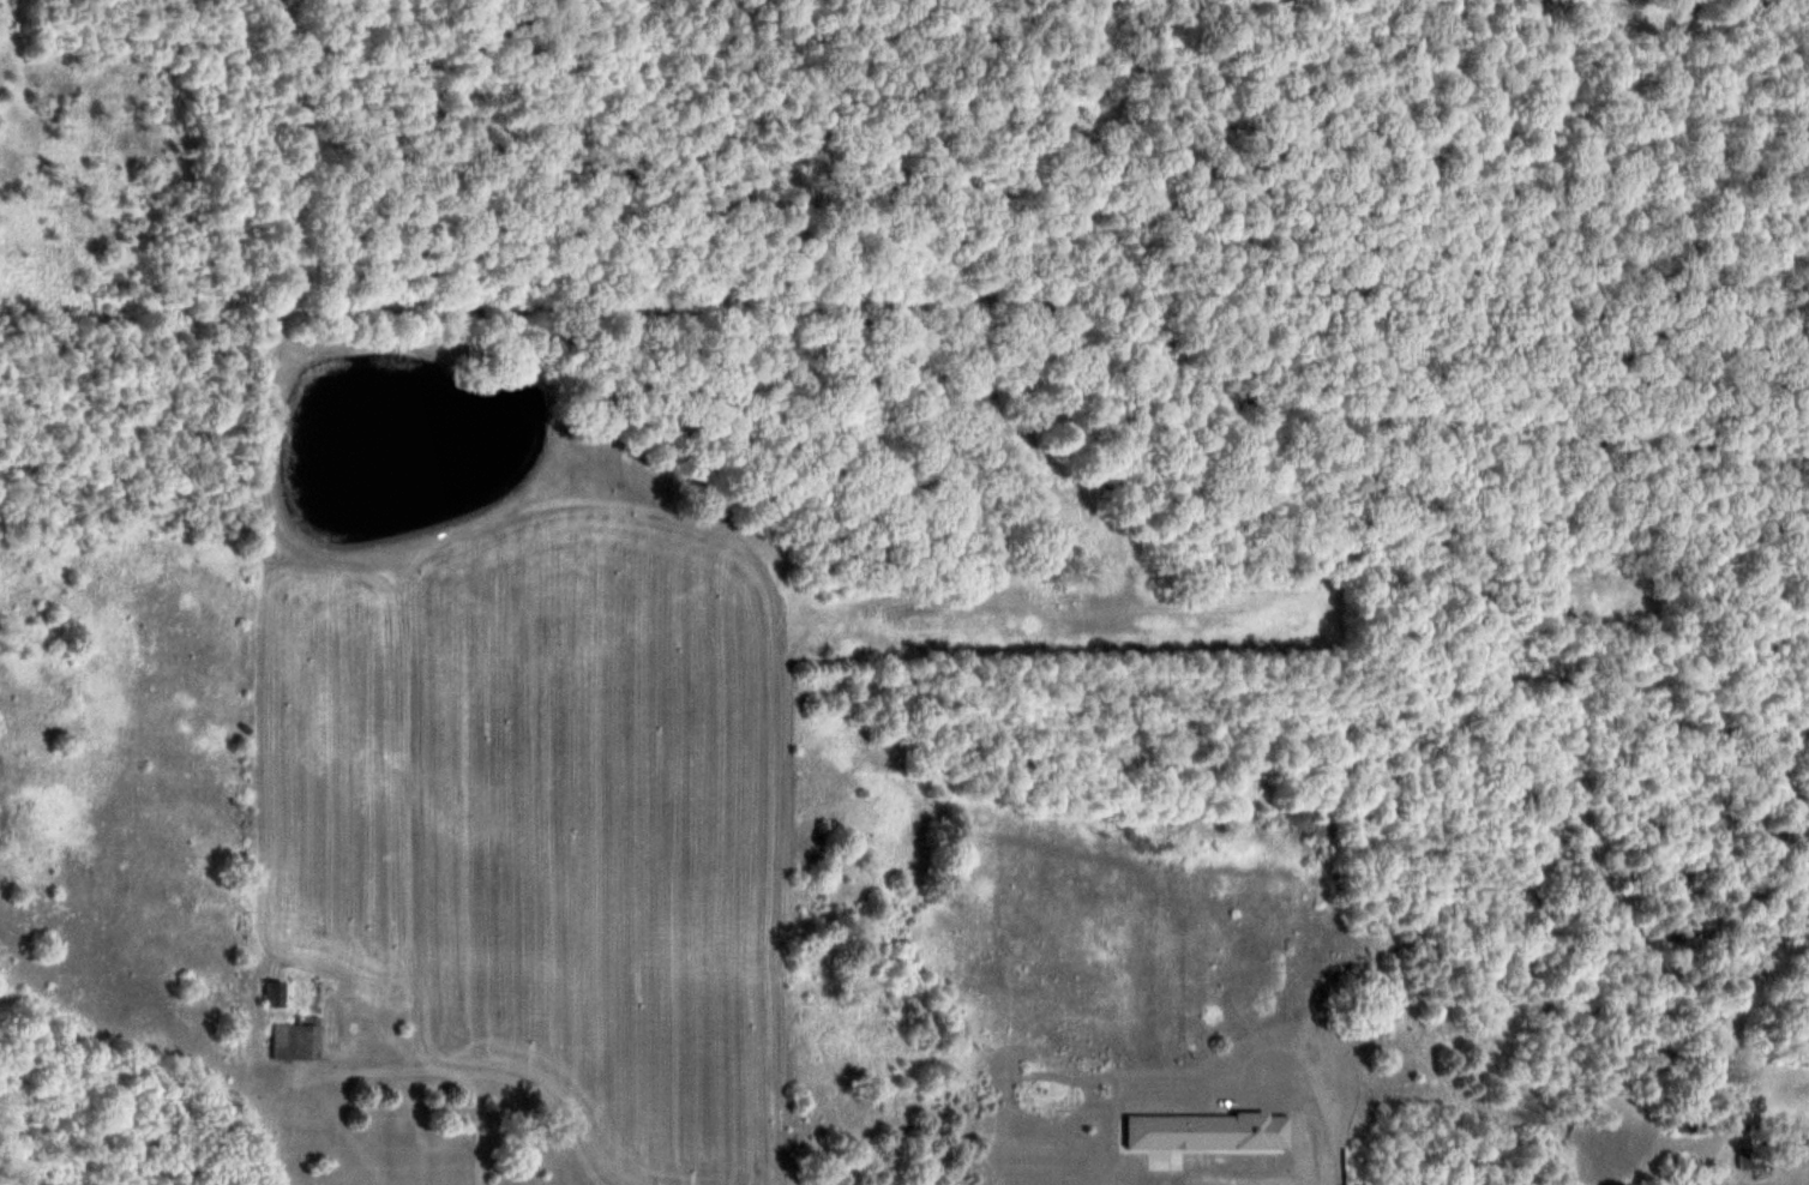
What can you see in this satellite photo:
building: (298, 1042)
building: (1209, 1133)
building: (1753, 1161)

